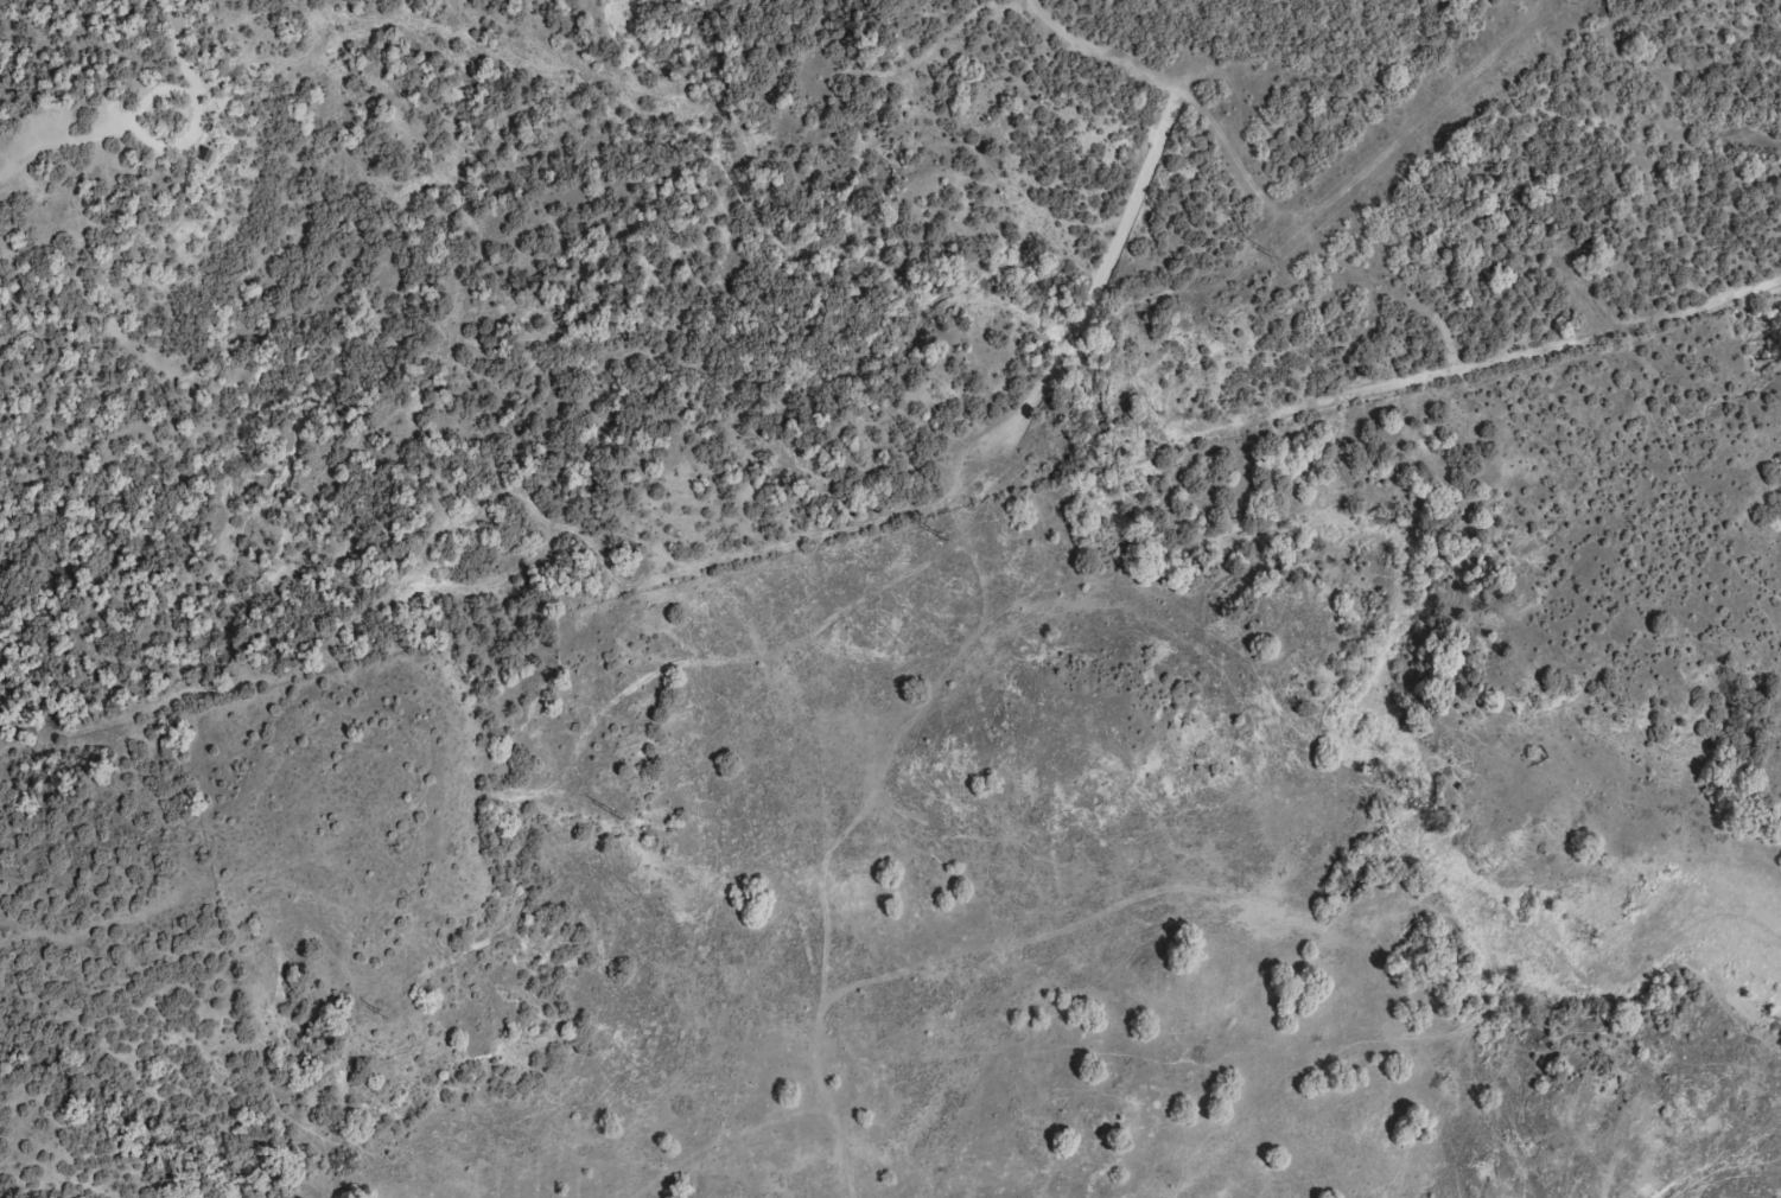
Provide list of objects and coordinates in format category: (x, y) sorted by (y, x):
power tower: (1270, 255)
power tower: (940, 536)
power tower: (619, 816)
power tower: (383, 1014)

